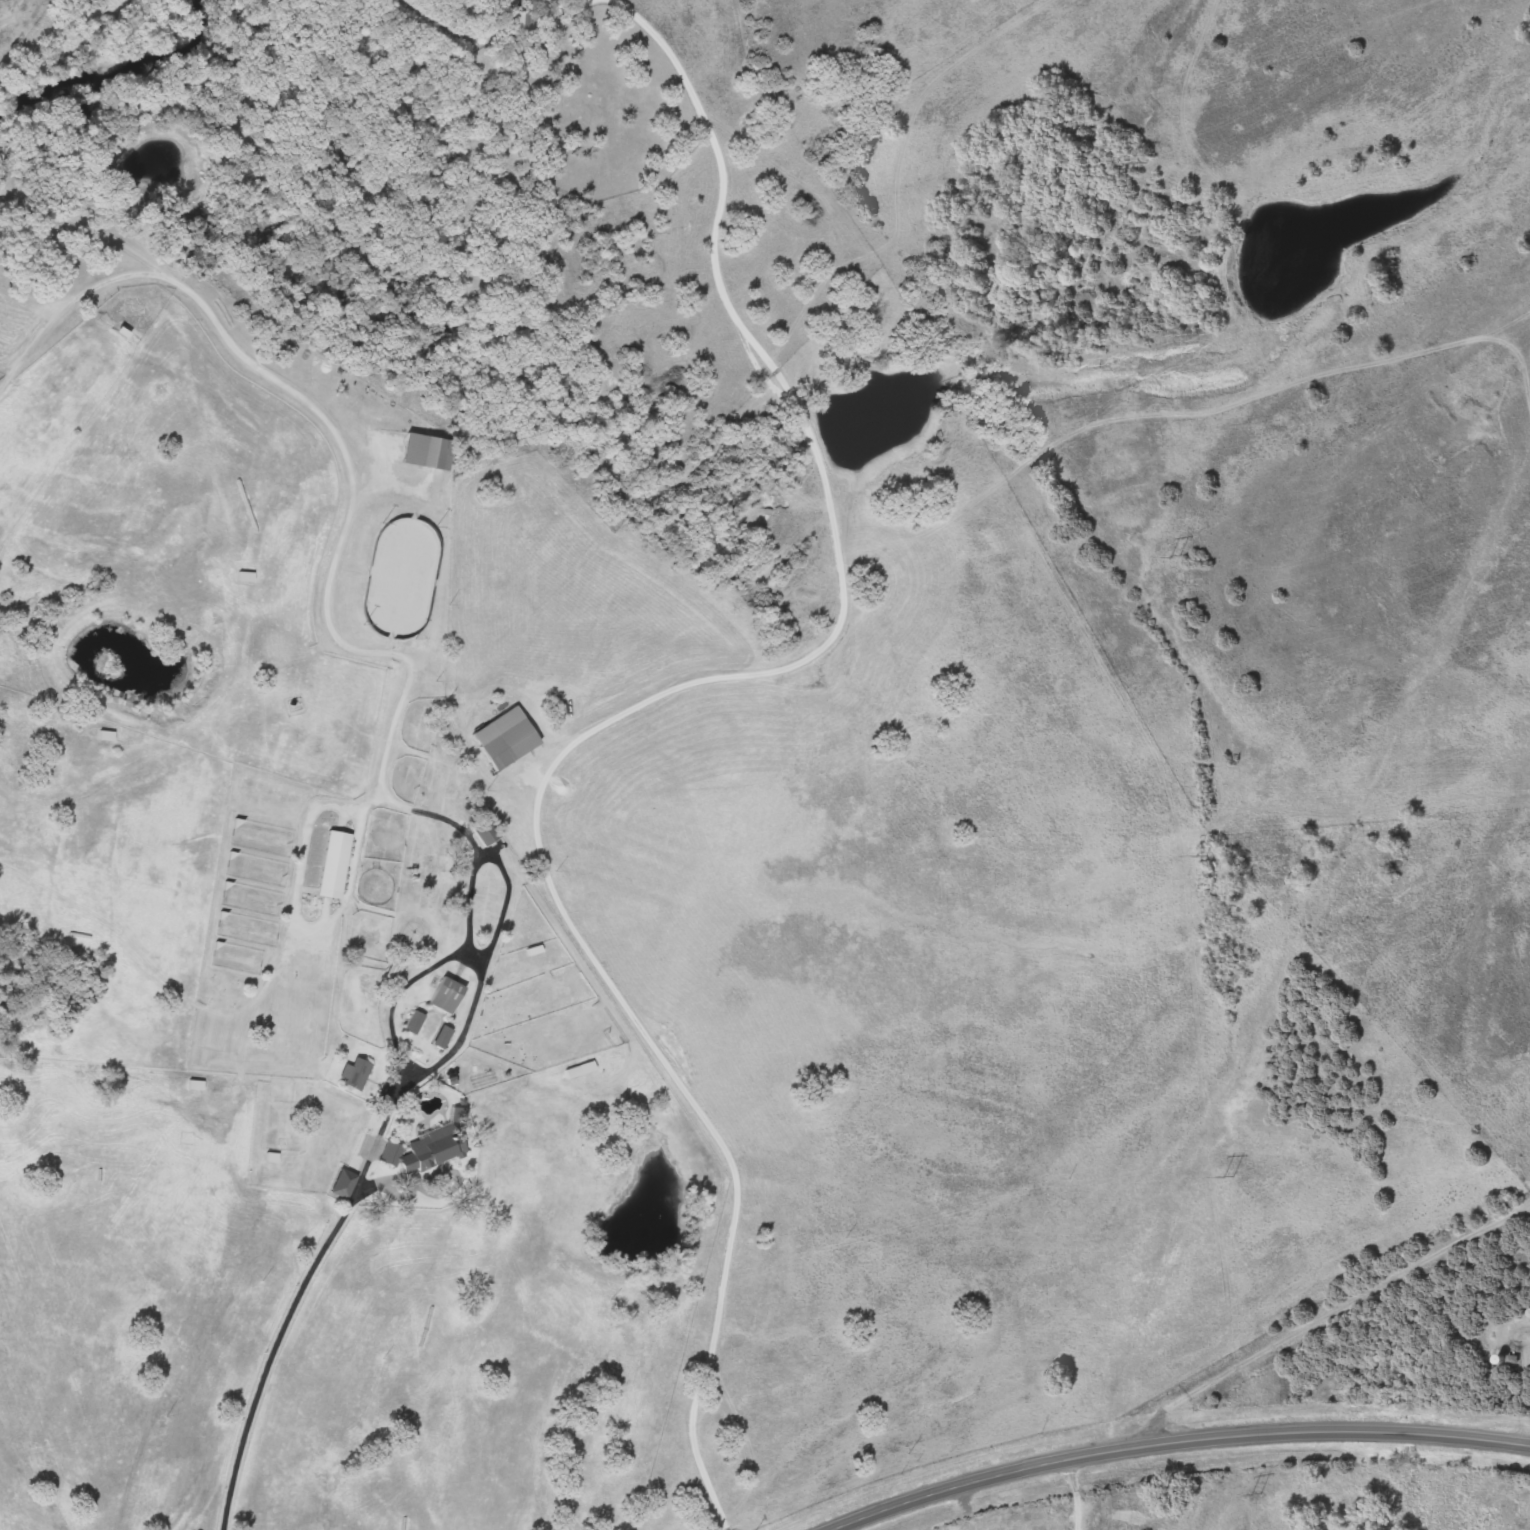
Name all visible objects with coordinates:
building: (422, 453)
building: (241, 577)
road: (327, 616)
road: (625, 714)
building: (102, 736)
building: (502, 744)
building: (478, 831)
building: (328, 865)
road: (476, 953)
road: (428, 967)
building: (388, 970)
building: (440, 996)
building: (407, 1023)
building: (436, 1038)
building: (191, 1086)
building: (426, 1145)
building: (338, 1184)
road: (1525, 1210)
road: (295, 1301)
road: (1298, 1327)
road: (1521, 1335)
road: (1175, 1445)
road: (1076, 1495)

